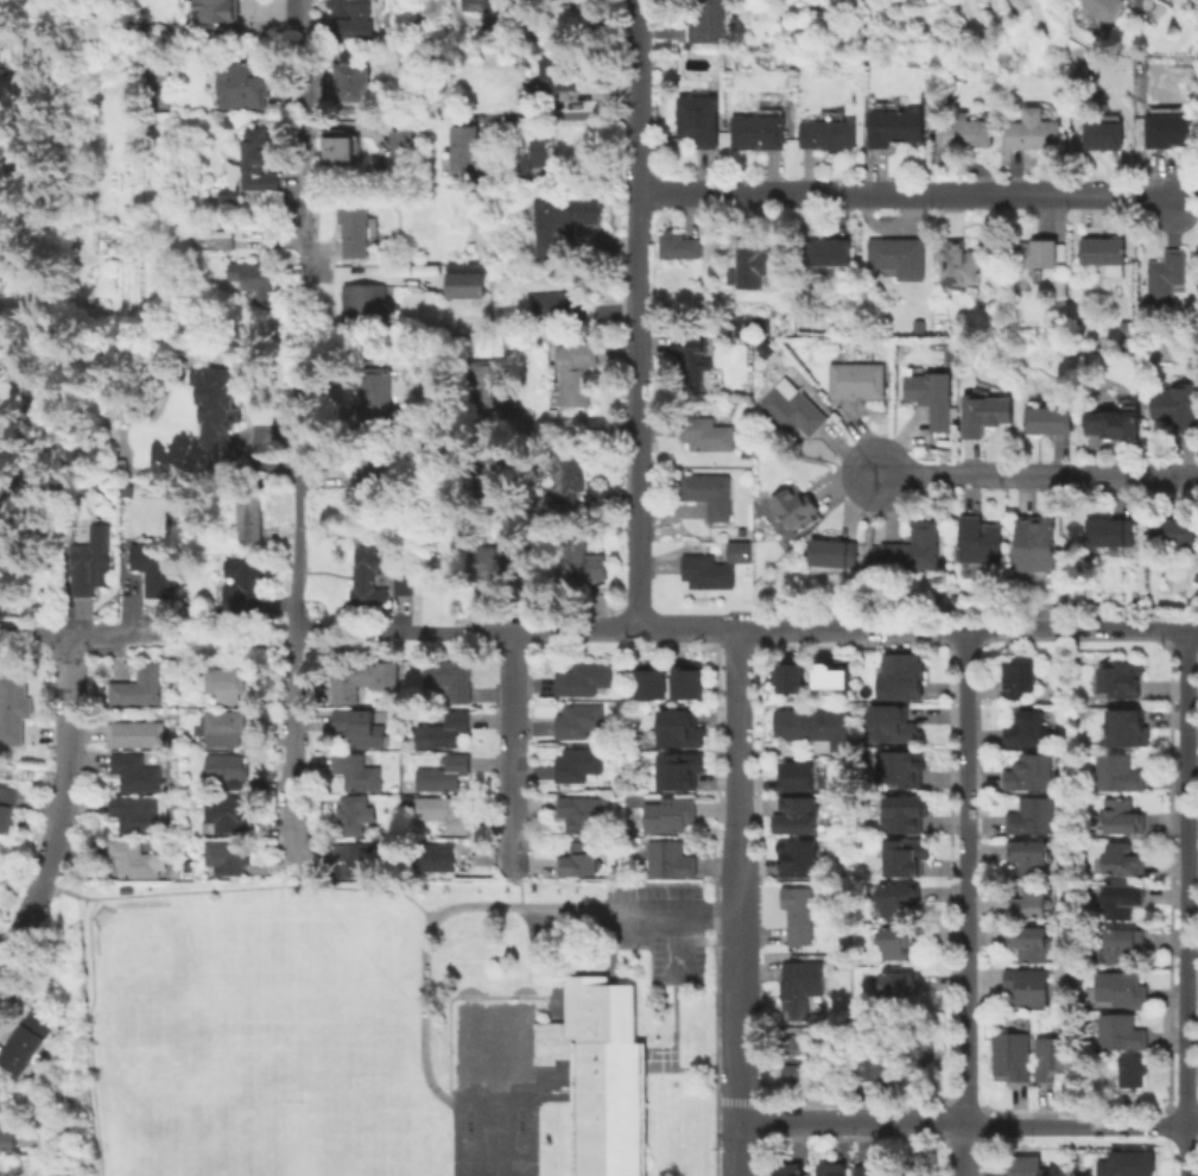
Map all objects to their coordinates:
building: (478, 5)
building: (347, 7)
building: (1103, 7)
building: (216, 10)
building: (710, 21)
building: (558, 72)
building: (247, 80)
building: (351, 82)
road: (563, 113)
building: (698, 116)
building: (229, 122)
building: (895, 126)
building: (1033, 129)
building: (1170, 129)
building: (755, 131)
building: (964, 132)
building: (828, 133)
building: (1104, 134)
building: (404, 138)
building: (465, 146)
building: (341, 148)
building: (533, 156)
building: (256, 160)
road: (913, 194)
building: (228, 195)
building: (564, 221)
building: (354, 225)
building: (221, 242)
building: (679, 245)
building: (828, 251)
building: (1104, 253)
building: (1033, 254)
building: (898, 255)
building: (754, 261)
building: (958, 263)
building: (1165, 274)
building: (253, 277)
building: (465, 283)
building: (1059, 285)
building: (360, 303)
building: (559, 306)
road: (638, 312)
road: (298, 352)
building: (693, 362)
building: (576, 371)
building: (857, 379)
building: (489, 390)
building: (373, 394)
building: (933, 397)
building: (1178, 406)
building: (793, 410)
building: (216, 412)
building: (984, 412)
building: (1051, 419)
building: (1113, 422)
road: (576, 428)
building: (706, 434)
building: (375, 464)
building: (116, 466)
building: (497, 470)
road: (1035, 474)
building: (568, 480)
building: (708, 492)
building: (794, 505)
building: (249, 513)
building: (1173, 530)
building: (1111, 531)
building: (981, 539)
building: (1038, 543)
building: (913, 548)
road: (867, 550)
building: (832, 552)
building: (734, 555)
building: (497, 556)
building: (573, 562)
building: (87, 564)
building: (148, 570)
building: (702, 575)
building: (478, 577)
building: (769, 578)
building: (365, 580)
building: (239, 587)
building: (400, 589)
road: (686, 627)
road: (966, 630)
road: (463, 631)
road: (83, 638)
road: (230, 638)
road: (737, 663)
building: (900, 675)
building: (833, 677)
building: (1022, 677)
building: (1123, 678)
building: (354, 679)
building: (579, 679)
building: (445, 681)
building: (784, 682)
building: (680, 685)
building: (222, 687)
building: (645, 687)
building: (134, 689)
building: (11, 714)
road: (737, 720)
building: (575, 722)
building: (889, 722)
building: (1128, 727)
building: (812, 728)
building: (1027, 728)
building: (220, 731)
building: (355, 732)
building: (440, 732)
building: (673, 732)
building: (131, 736)
building: (641, 746)
road: (514, 752)
building: (573, 766)
building: (913, 769)
building: (221, 773)
building: (673, 773)
building: (1033, 773)
building: (1118, 773)
building: (353, 774)
building: (131, 776)
building: (442, 776)
building: (792, 779)
road: (737, 780)
road: (291, 784)
building: (619, 784)
building: (5, 805)
road: (57, 807)
road: (962, 810)
building: (904, 813)
building: (442, 814)
building: (576, 815)
building: (1121, 816)
building: (131, 817)
building: (348, 817)
building: (665, 817)
building: (1033, 817)
building: (221, 818)
building: (792, 818)
road: (1186, 820)
building: (397, 830)
road: (737, 847)
building: (221, 856)
building: (908, 856)
building: (1031, 856)
building: (433, 859)
building: (664, 860)
building: (792, 860)
building: (1122, 860)
building: (344, 861)
building: (129, 862)
building: (576, 864)
building: (172, 873)
building: (190, 875)
road: (292, 875)
road: (49, 886)
road: (264, 887)
road: (520, 890)
building: (895, 898)
building: (1120, 899)
building: (1031, 902)
road: (670, 913)
building: (794, 917)
road: (426, 929)
parking lot: (657, 930)
building: (896, 941)
building: (1031, 942)
building: (1123, 943)
road: (679, 946)
park: (160, 982)
building: (895, 982)
building: (1029, 986)
building: (1123, 988)
building: (796, 991)
road: (737, 1026)
park: (389, 1028)
building: (1123, 1032)
road: (80, 1036)
building: (24, 1042)
building: (915, 1052)
building: (1012, 1056)
road: (961, 1057)
building: (1053, 1058)
building: (797, 1061)
building: (874, 1066)
building: (1136, 1070)
building: (493, 1075)
road: (534, 1080)
building: (823, 1090)
park: (243, 1093)
road: (1187, 1093)
road: (849, 1123)
road: (1073, 1125)
road: (1192, 1126)
building: (7, 1142)
road: (961, 1150)
building: (1126, 1163)
building: (1027, 1164)
building: (832, 1169)
building: (781, 1170)
building: (866, 1170)
building: (913, 1170)

